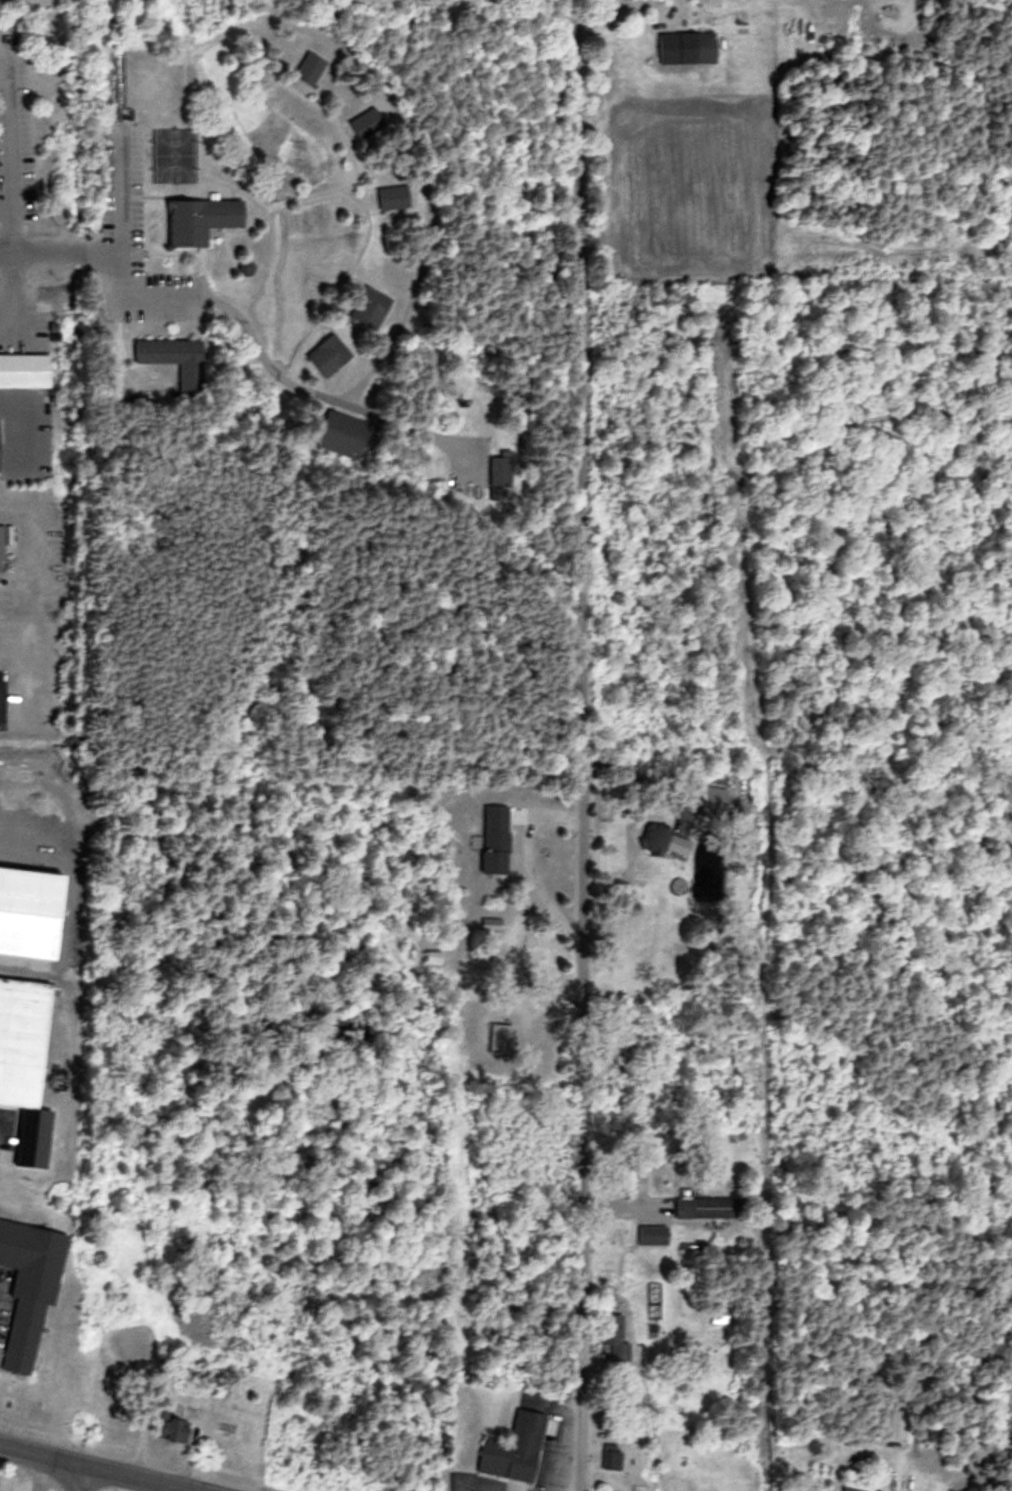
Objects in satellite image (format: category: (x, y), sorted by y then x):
road: (589, 24)
building: (688, 43)
building: (311, 66)
building: (111, 76)
building: (393, 197)
building: (203, 217)
road: (28, 254)
building: (371, 305)
building: (331, 352)
building: (173, 353)
building: (25, 368)
building: (341, 431)
building: (0, 441)
building: (500, 468)
road: (586, 795)
building: (715, 799)
building: (656, 834)
building: (496, 837)
building: (493, 921)
building: (501, 1035)
building: (24, 1069)
building: (708, 1205)
building: (654, 1233)
building: (31, 1284)
building: (719, 1313)
building: (616, 1335)
building: (895, 1423)
building: (171, 1426)
building: (516, 1446)
road: (40, 1461)
road: (80, 1481)
road: (121, 1481)
building: (858, 1482)

